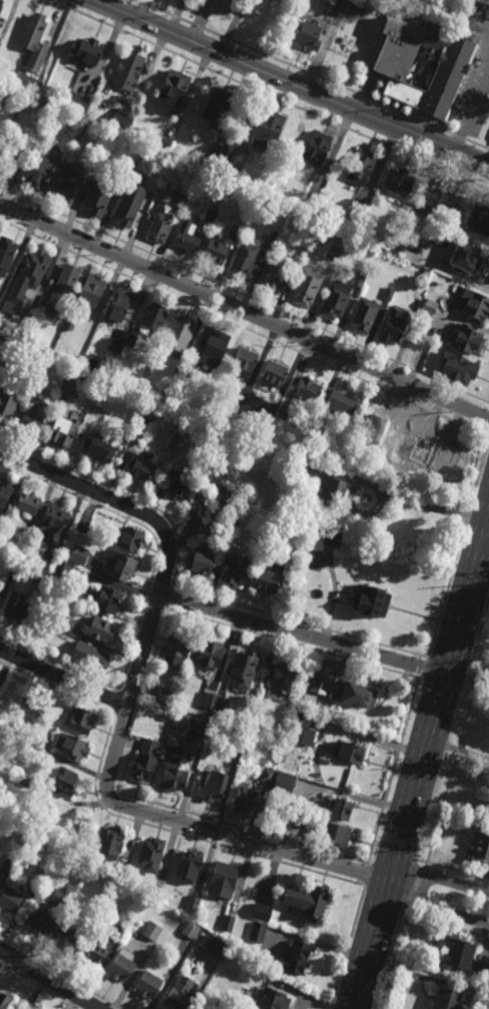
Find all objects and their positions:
building: (1, 4)
parking lot: (234, 6)
building: (340, 7)
road: (203, 21)
road: (236, 27)
building: (309, 36)
building: (33, 41)
building: (85, 51)
building: (392, 64)
road: (293, 66)
building: (128, 70)
building: (28, 83)
road: (290, 84)
building: (174, 87)
road: (268, 94)
building: (77, 102)
building: (217, 106)
road: (470, 110)
building: (120, 122)
building: (269, 128)
road: (460, 137)
building: (167, 142)
road: (479, 146)
building: (316, 147)
building: (217, 152)
building: (12, 154)
building: (232, 158)
building: (361, 166)
building: (128, 167)
building: (40, 170)
building: (69, 181)
building: (399, 181)
building: (313, 194)
building: (98, 196)
building: (180, 196)
building: (129, 204)
building: (425, 207)
building: (358, 210)
building: (448, 211)
building: (210, 215)
building: (480, 218)
building: (160, 224)
building: (273, 230)
building: (235, 231)
building: (186, 238)
building: (215, 251)
building: (6, 254)
building: (464, 255)
building: (245, 261)
building: (331, 265)
building: (413, 272)
building: (275, 276)
building: (360, 277)
building: (26, 280)
building: (63, 287)
building: (306, 288)
building: (91, 293)
building: (389, 293)
building: (336, 299)
building: (43, 300)
building: (475, 304)
building: (120, 305)
building: (430, 306)
building: (40, 308)
road: (244, 313)
building: (365, 315)
building: (426, 319)
building: (153, 320)
building: (70, 326)
building: (393, 326)
building: (179, 334)
building: (467, 338)
building: (119, 339)
building: (132, 341)
building: (214, 348)
building: (16, 357)
building: (44, 358)
building: (245, 360)
building: (458, 368)
building: (274, 373)
building: (183, 375)
building: (75, 383)
building: (309, 391)
building: (244, 395)
building: (343, 401)
building: (8, 404)
building: (97, 411)
building: (272, 411)
building: (283, 412)
building: (35, 416)
building: (141, 427)
building: (64, 432)
building: (315, 433)
building: (99, 449)
building: (416, 451)
building: (355, 460)
building: (306, 463)
building: (140, 470)
building: (180, 486)
building: (333, 492)
building: (5, 494)
building: (29, 503)
building: (199, 504)
road: (426, 505)
building: (54, 521)
building: (84, 524)
building: (230, 531)
road: (486, 534)
building: (333, 538)
building: (130, 540)
building: (20, 551)
building: (79, 555)
building: (48, 560)
building: (200, 562)
building: (118, 565)
building: (15, 567)
building: (71, 573)
building: (235, 573)
building: (268, 576)
building: (41, 577)
building: (1, 593)
building: (370, 599)
building: (108, 600)
road: (185, 602)
building: (16, 609)
building: (67, 621)
building: (102, 629)
building: (177, 647)
road: (144, 648)
building: (209, 653)
building: (92, 656)
building: (244, 667)
building: (281, 678)
power tower: (469, 678)
building: (311, 682)
building: (356, 691)
building: (169, 700)
building: (213, 701)
building: (36, 704)
building: (257, 716)
building: (83, 720)
building: (301, 729)
building: (22, 735)
building: (70, 745)
building: (348, 751)
building: (235, 754)
building: (177, 758)
building: (145, 761)
road: (420, 761)
power tower: (443, 763)
building: (269, 772)
building: (22, 776)
building: (285, 782)
building: (65, 783)
building: (212, 783)
building: (245, 798)
building: (487, 799)
building: (341, 808)
road: (137, 810)
building: (300, 819)
building: (336, 834)
building: (109, 843)
building: (481, 847)
building: (150, 854)
power tower: (418, 855)
building: (8, 866)
building: (188, 866)
building: (122, 868)
road: (438, 878)
building: (222, 880)
building: (36, 882)
building: (158, 891)
building: (61, 897)
building: (11, 899)
building: (307, 901)
building: (193, 904)
road: (435, 906)
building: (261, 912)
building: (38, 919)
building: (228, 923)
building: (190, 930)
building: (70, 931)
building: (116, 931)
building: (152, 931)
building: (257, 932)
building: (264, 934)
building: (214, 945)
building: (94, 950)
building: (457, 952)
building: (297, 958)
building: (122, 965)
building: (482, 970)
road: (48, 979)
building: (148, 984)
building: (179, 994)
building: (483, 997)
building: (447, 998)
building: (274, 999)
building: (6, 1001)

